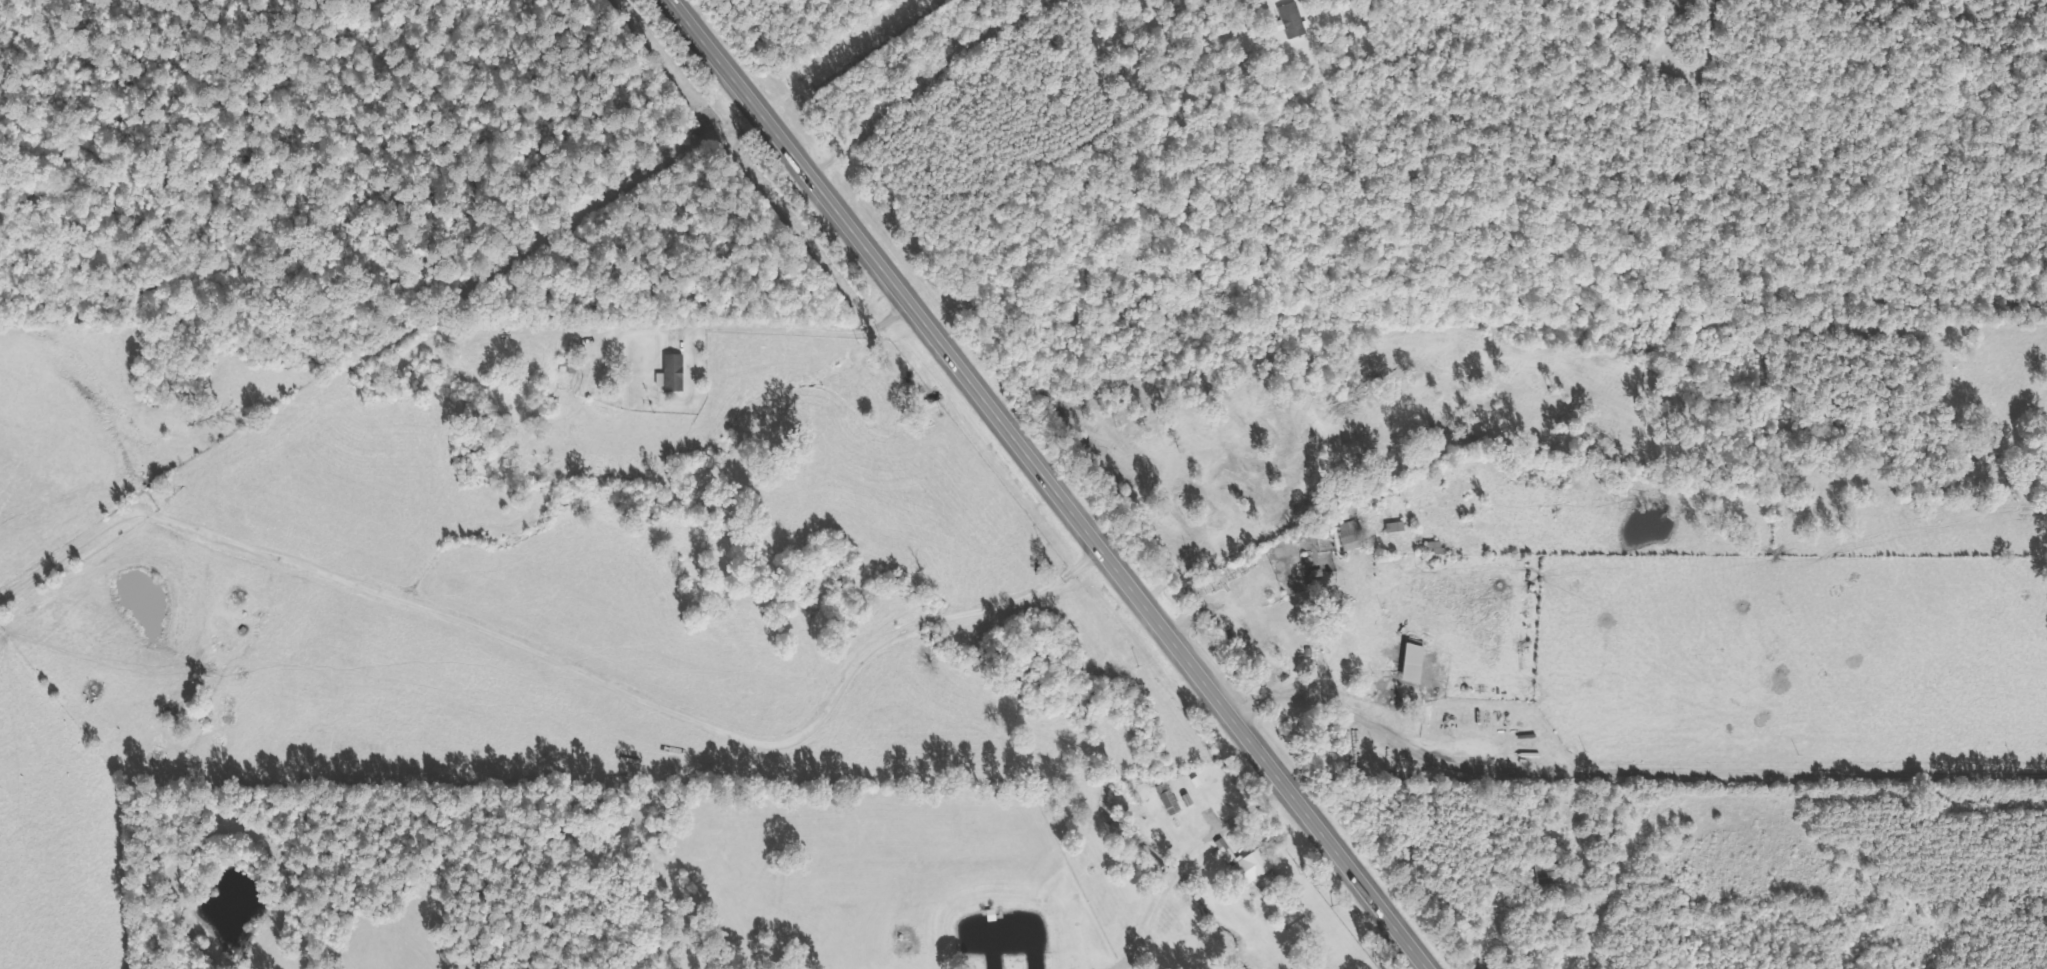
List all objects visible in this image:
building: (1287, 20)
building: (564, 367)
building: (668, 372)
road: (1052, 484)
building: (1390, 527)
building: (1346, 534)
building: (1431, 547)
building: (1406, 661)
building: (1163, 798)
building: (1239, 861)
building: (1544, 876)

